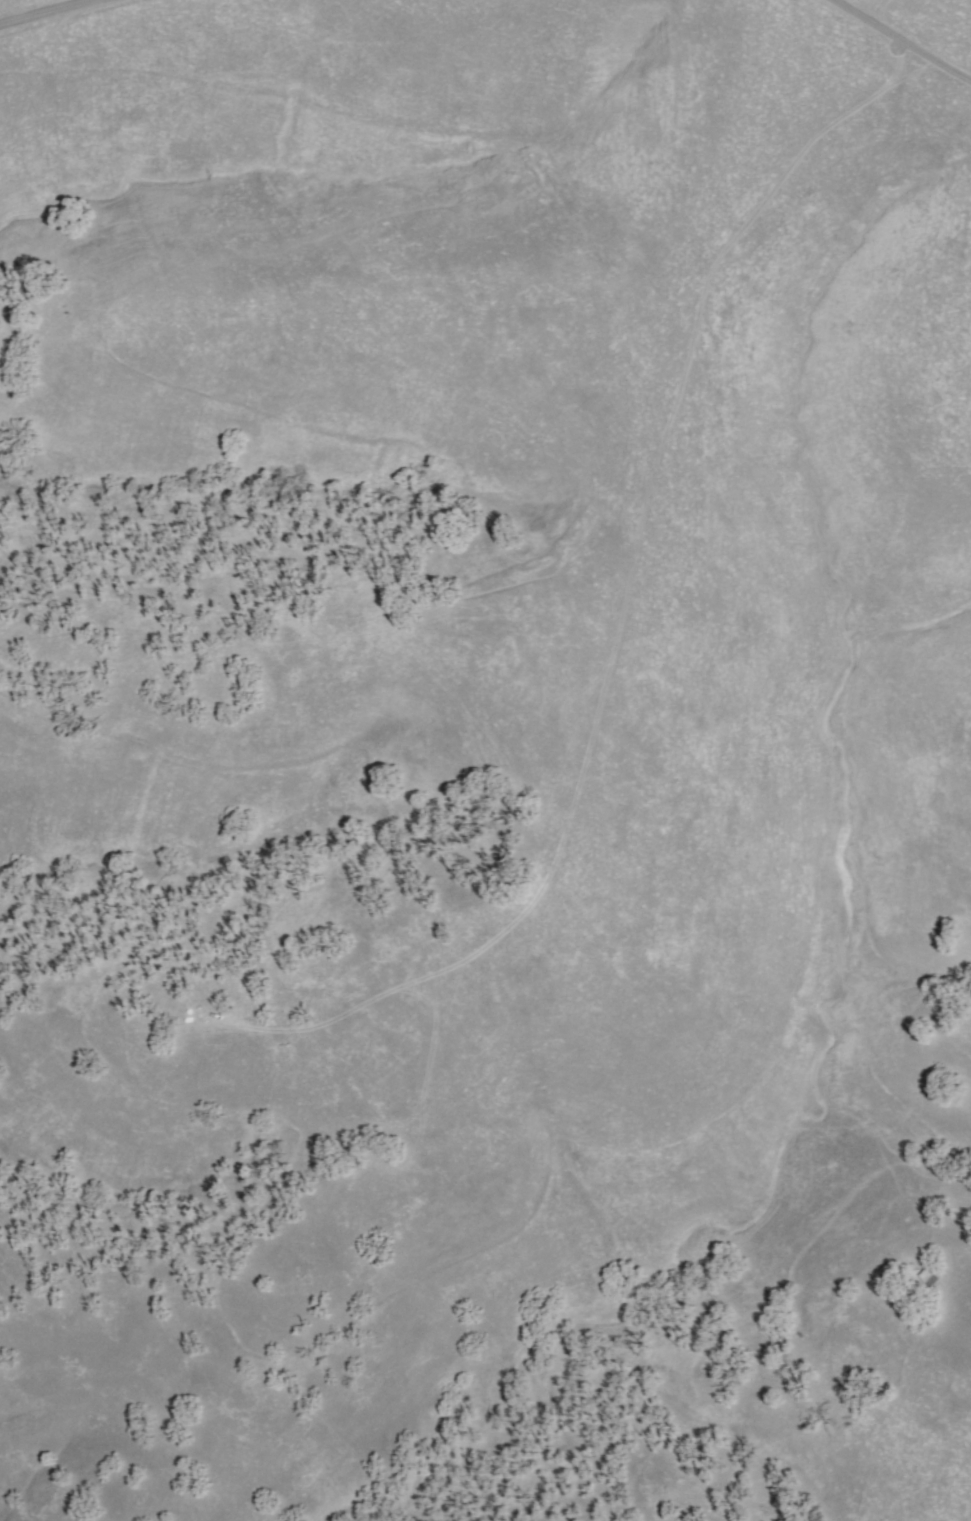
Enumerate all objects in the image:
road: (49, 11)
road: (898, 39)

